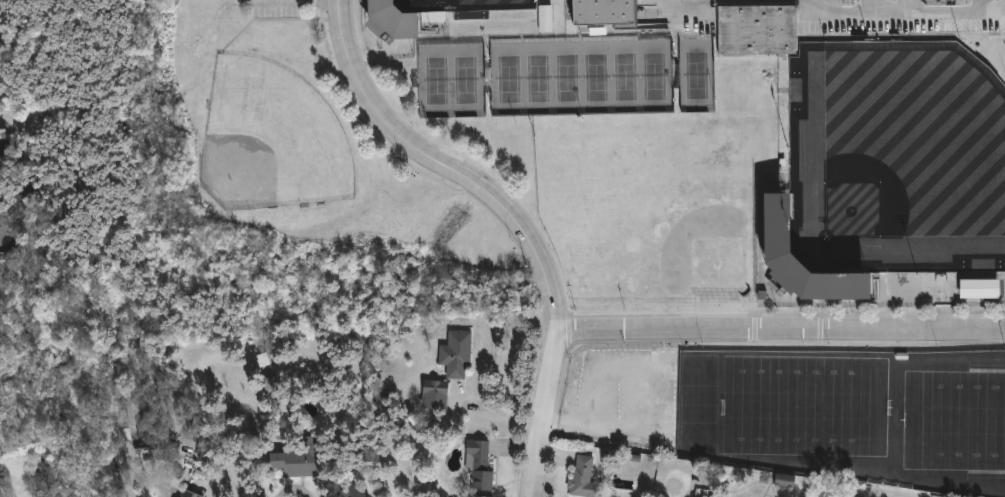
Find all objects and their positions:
road: (278, 0)
building: (852, 0)
building: (953, 1)
park: (463, 4)
parking lot: (280, 6)
building: (606, 13)
road: (905, 14)
building: (393, 18)
building: (546, 18)
building: (759, 30)
park: (697, 75)
park: (582, 76)
park: (452, 80)
building: (3, 131)
park: (271, 139)
building: (0, 156)
park: (898, 159)
park: (649, 208)
road: (514, 216)
building: (780, 218)
building: (4, 229)
building: (980, 288)
road: (781, 327)
building: (456, 354)
building: (262, 359)
building: (435, 394)
park: (857, 417)
building: (297, 462)
building: (479, 464)
building: (584, 477)
building: (785, 479)
road: (295, 487)
building: (1, 491)
building: (348, 491)
building: (190, 493)
road: (219, 494)
building: (701, 496)

